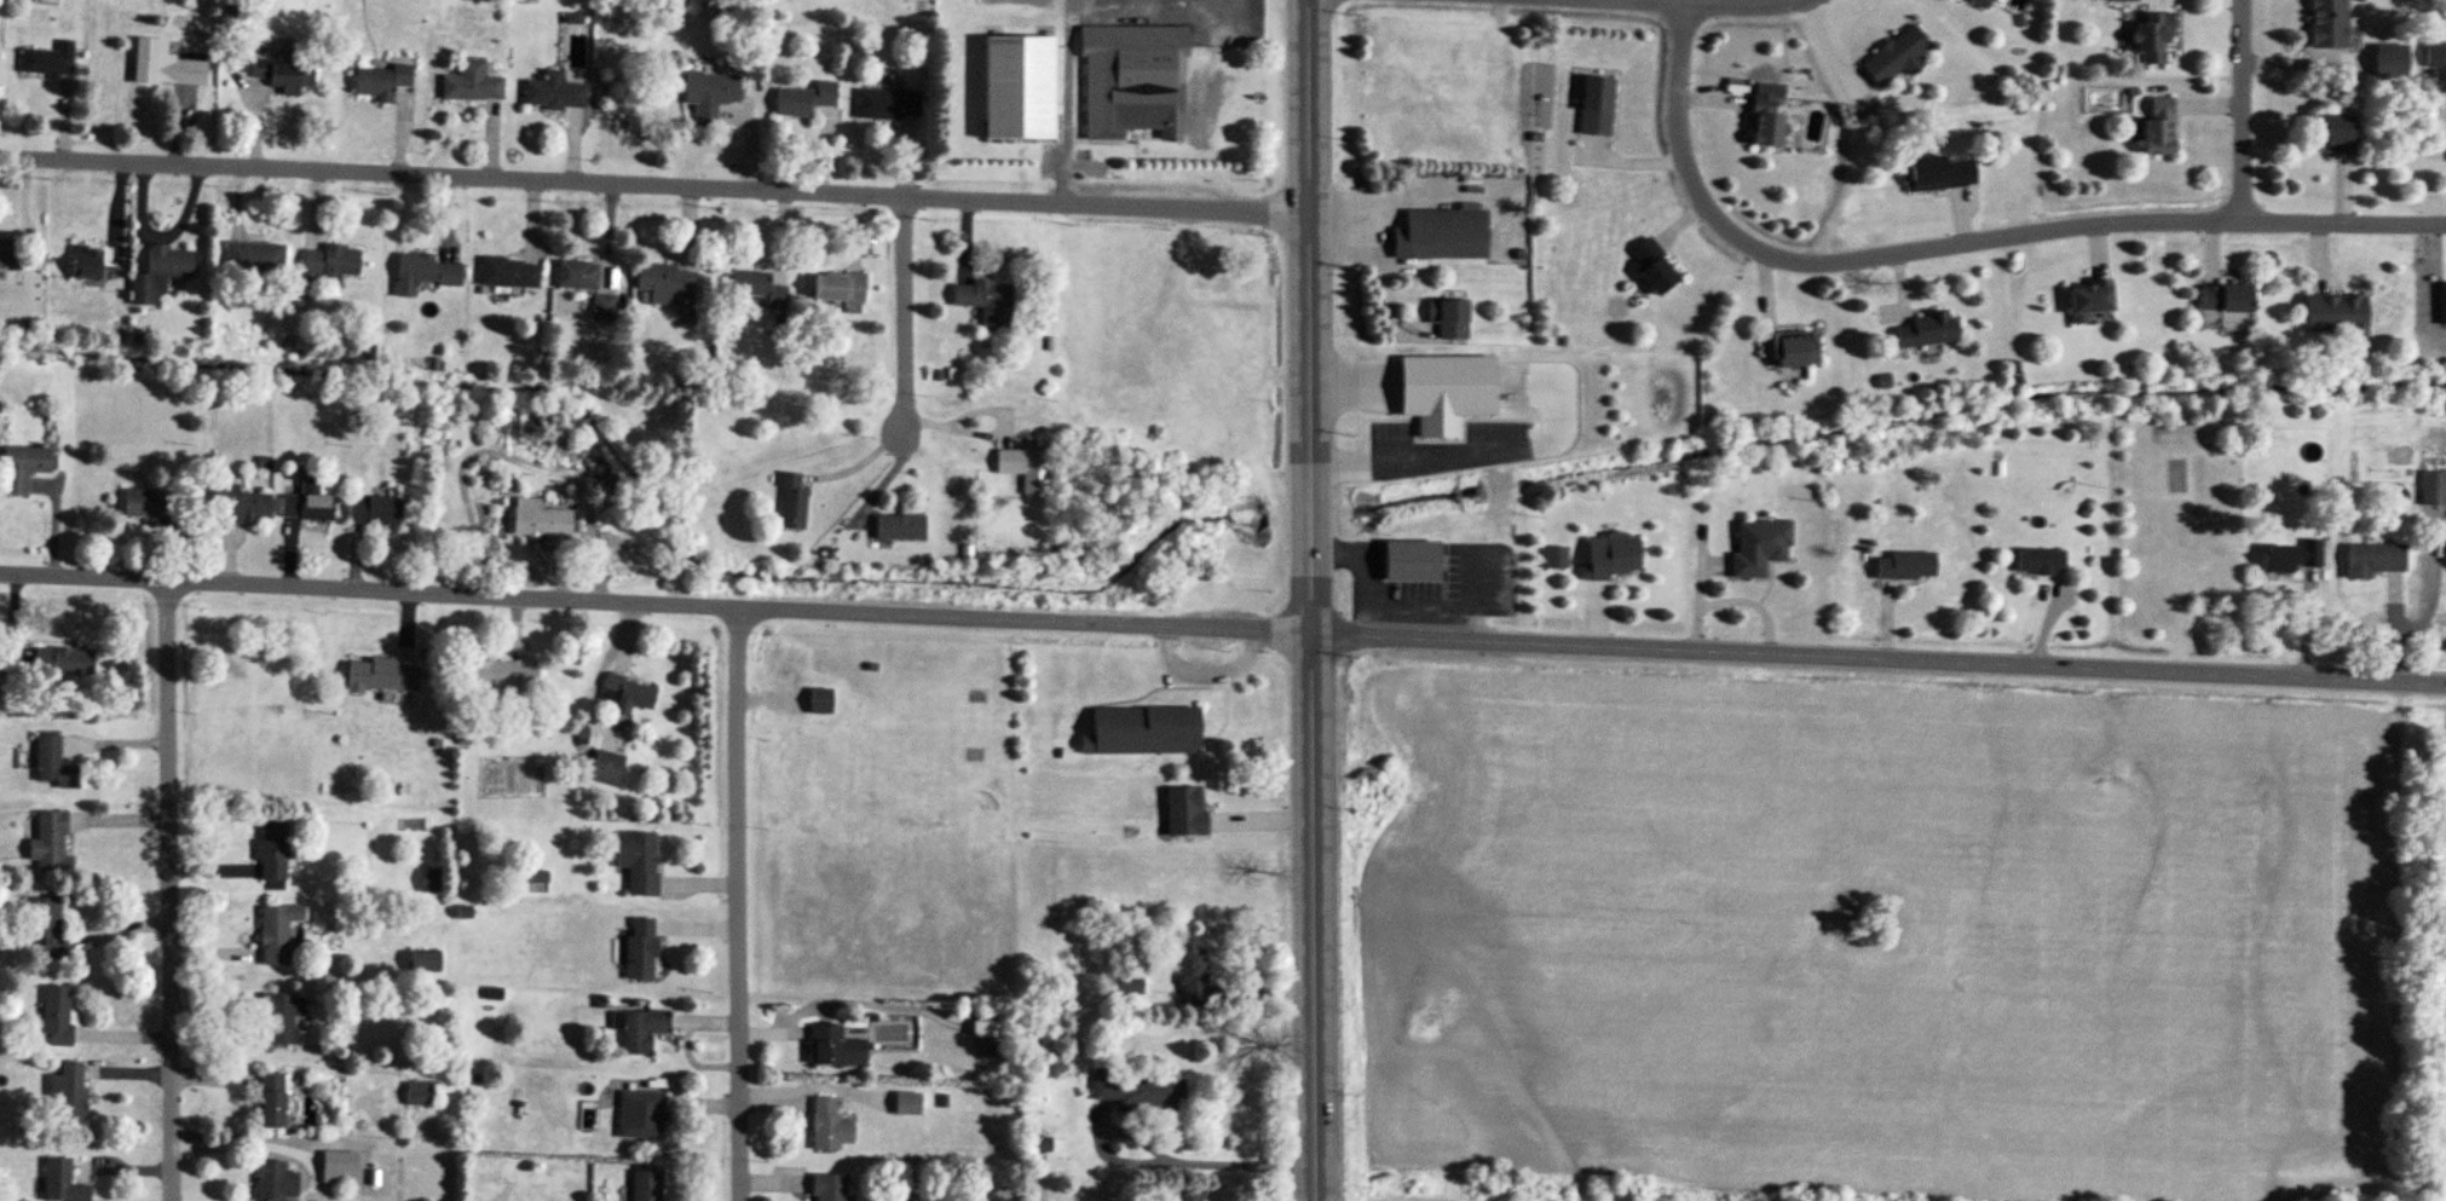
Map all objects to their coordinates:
building: (2124, 1)
building: (1979, 4)
road: (1700, 5)
road: (1159, 18)
building: (2327, 24)
building: (2153, 39)
building: (1897, 57)
building: (2435, 57)
building: (44, 62)
building: (2389, 62)
building: (165, 64)
building: (283, 74)
building: (380, 80)
building: (1133, 81)
building: (471, 82)
building: (1016, 90)
building: (553, 92)
building: (716, 94)
building: (807, 100)
road: (1068, 100)
building: (887, 105)
building: (1594, 105)
road: (2244, 110)
building: (1765, 125)
building: (2159, 131)
building: (2332, 134)
building: (1942, 174)
road: (654, 183)
building: (1441, 235)
road: (1965, 243)
building: (11, 250)
building: (252, 256)
building: (330, 261)
building: (85, 262)
building: (1652, 267)
building: (507, 271)
building: (157, 272)
building: (421, 272)
building: (576, 273)
building: (664, 283)
building: (756, 287)
building: (837, 287)
building: (2089, 298)
building: (2225, 298)
building: (987, 300)
building: (602, 306)
road: (905, 312)
building: (2335, 314)
building: (1448, 318)
building: (1927, 330)
building: (1789, 348)
building: (1444, 392)
road: (987, 410)
road: (1412, 439)
building: (23, 467)
building: (1027, 469)
building: (2433, 489)
building: (789, 500)
building: (138, 502)
building: (241, 506)
building: (307, 506)
building: (373, 509)
building: (538, 519)
building: (896, 526)
building: (1759, 548)
building: (1610, 558)
building: (2291, 558)
building: (2372, 560)
building: (1411, 561)
building: (2040, 561)
building: (1906, 565)
road: (1351, 566)
road: (1313, 600)
road: (1223, 628)
building: (63, 660)
building: (501, 676)
building: (376, 677)
building: (628, 693)
building: (820, 700)
building: (1144, 731)
building: (53, 763)
building: (606, 766)
building: (1184, 812)
building: (50, 841)
building: (272, 851)
building: (638, 861)
building: (429, 880)
road: (174, 891)
road: (743, 903)
building: (47, 926)
building: (276, 932)
building: (640, 948)
building: (422, 963)
building: (1192, 972)
building: (1130, 983)
building: (56, 1015)
building: (279, 1015)
building: (642, 1030)
building: (996, 1039)
building: (835, 1046)
building: (1140, 1092)
building: (420, 1093)
building: (67, 1095)
building: (270, 1101)
building: (644, 1119)
building: (829, 1125)
building: (1042, 1145)
road: (1164, 1155)
building: (276, 1180)
building: (62, 1182)
building: (646, 1186)
building: (829, 1188)
building: (1188, 1196)

